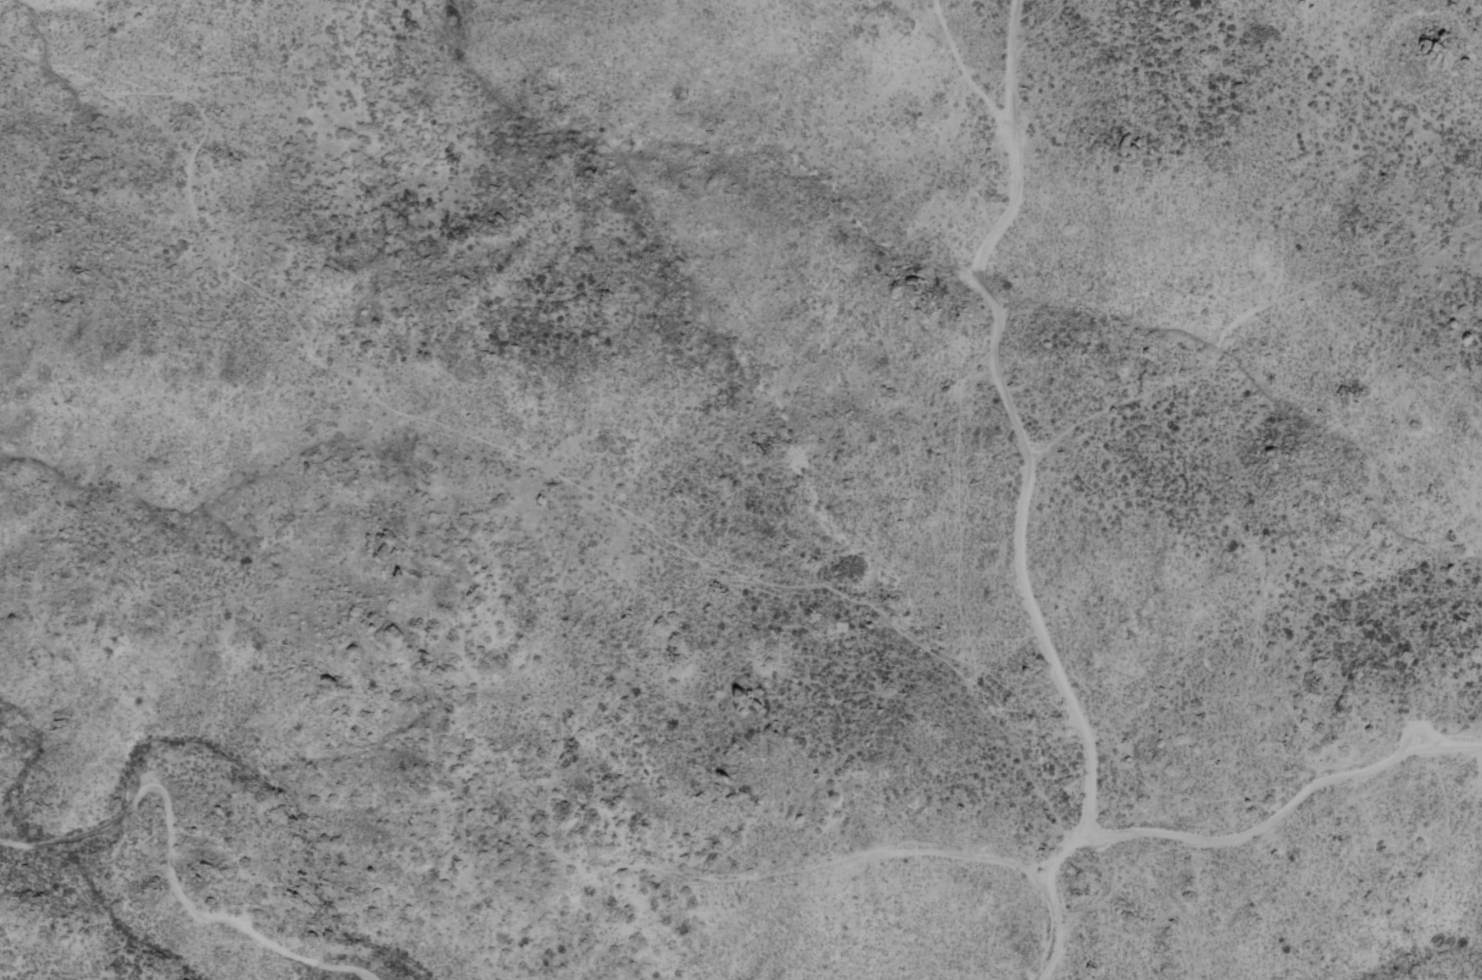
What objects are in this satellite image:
road: (1278, 777)
road: (201, 837)
road: (1081, 912)

